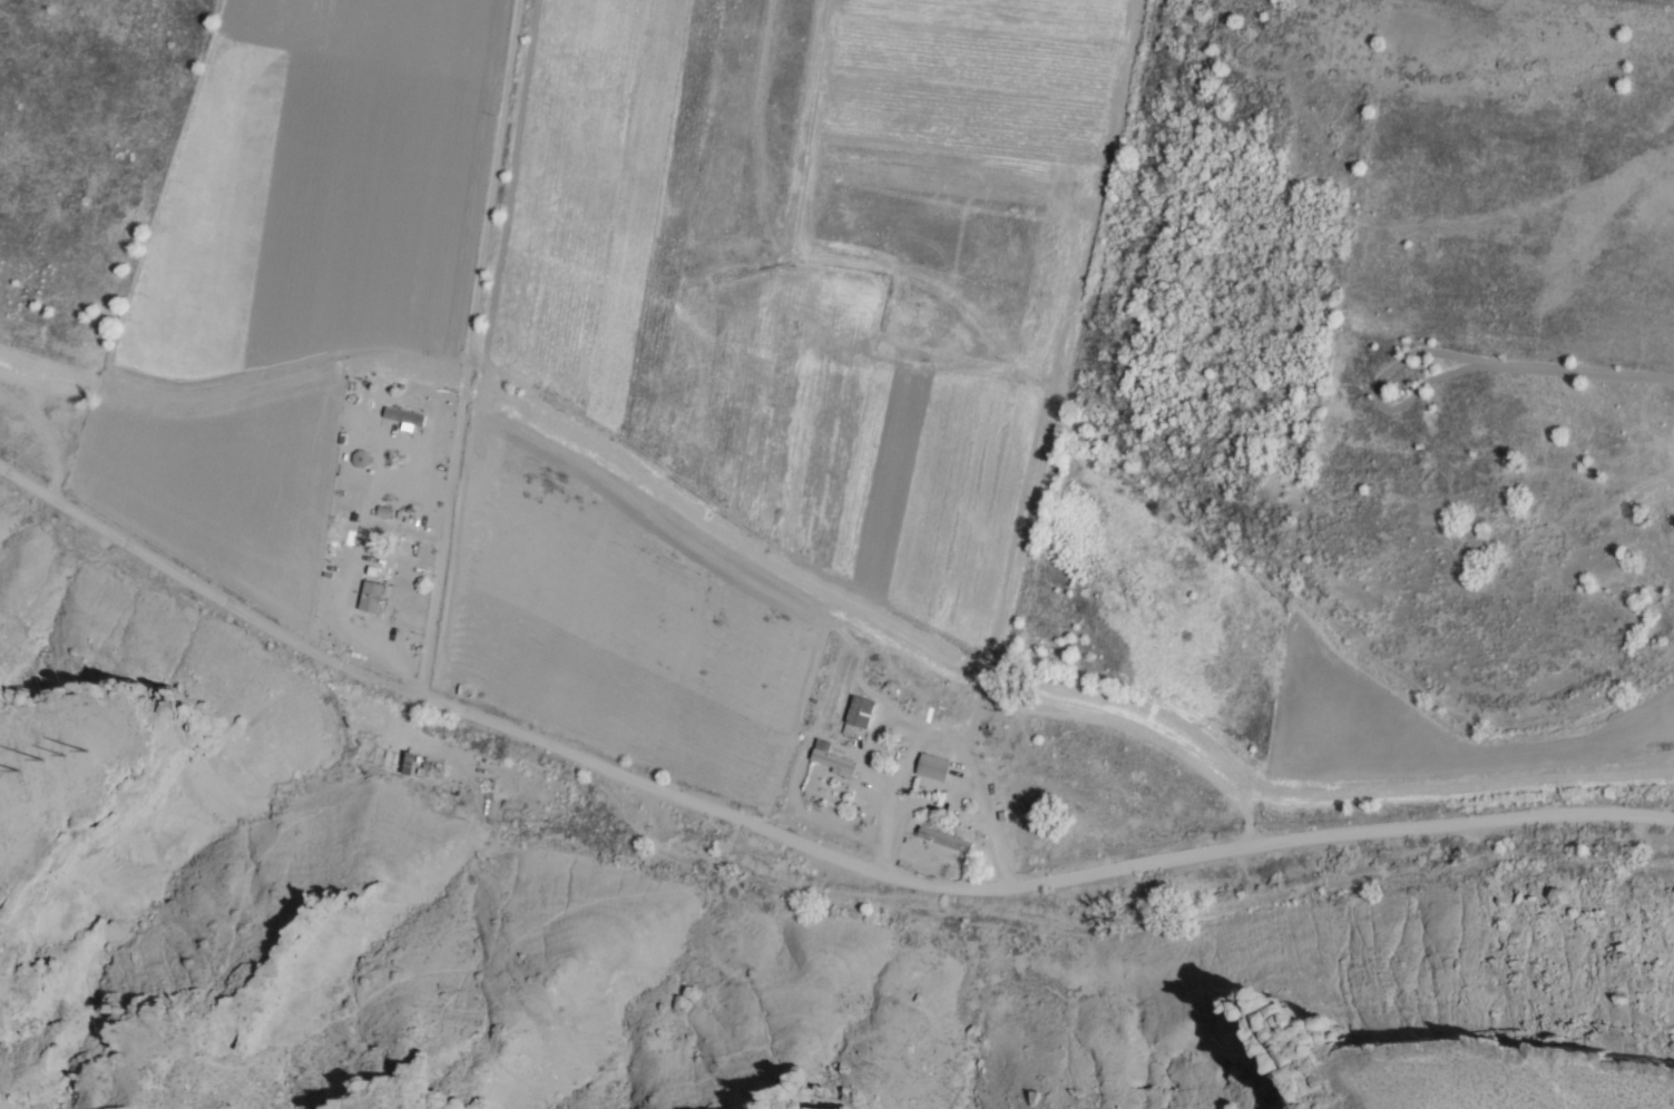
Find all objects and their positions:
road: (471, 349)
building: (404, 415)
building: (364, 458)
building: (371, 596)
building: (859, 715)
power tower: (59, 753)
building: (832, 758)
building: (412, 764)
building: (933, 766)
building: (944, 840)
road: (797, 843)

